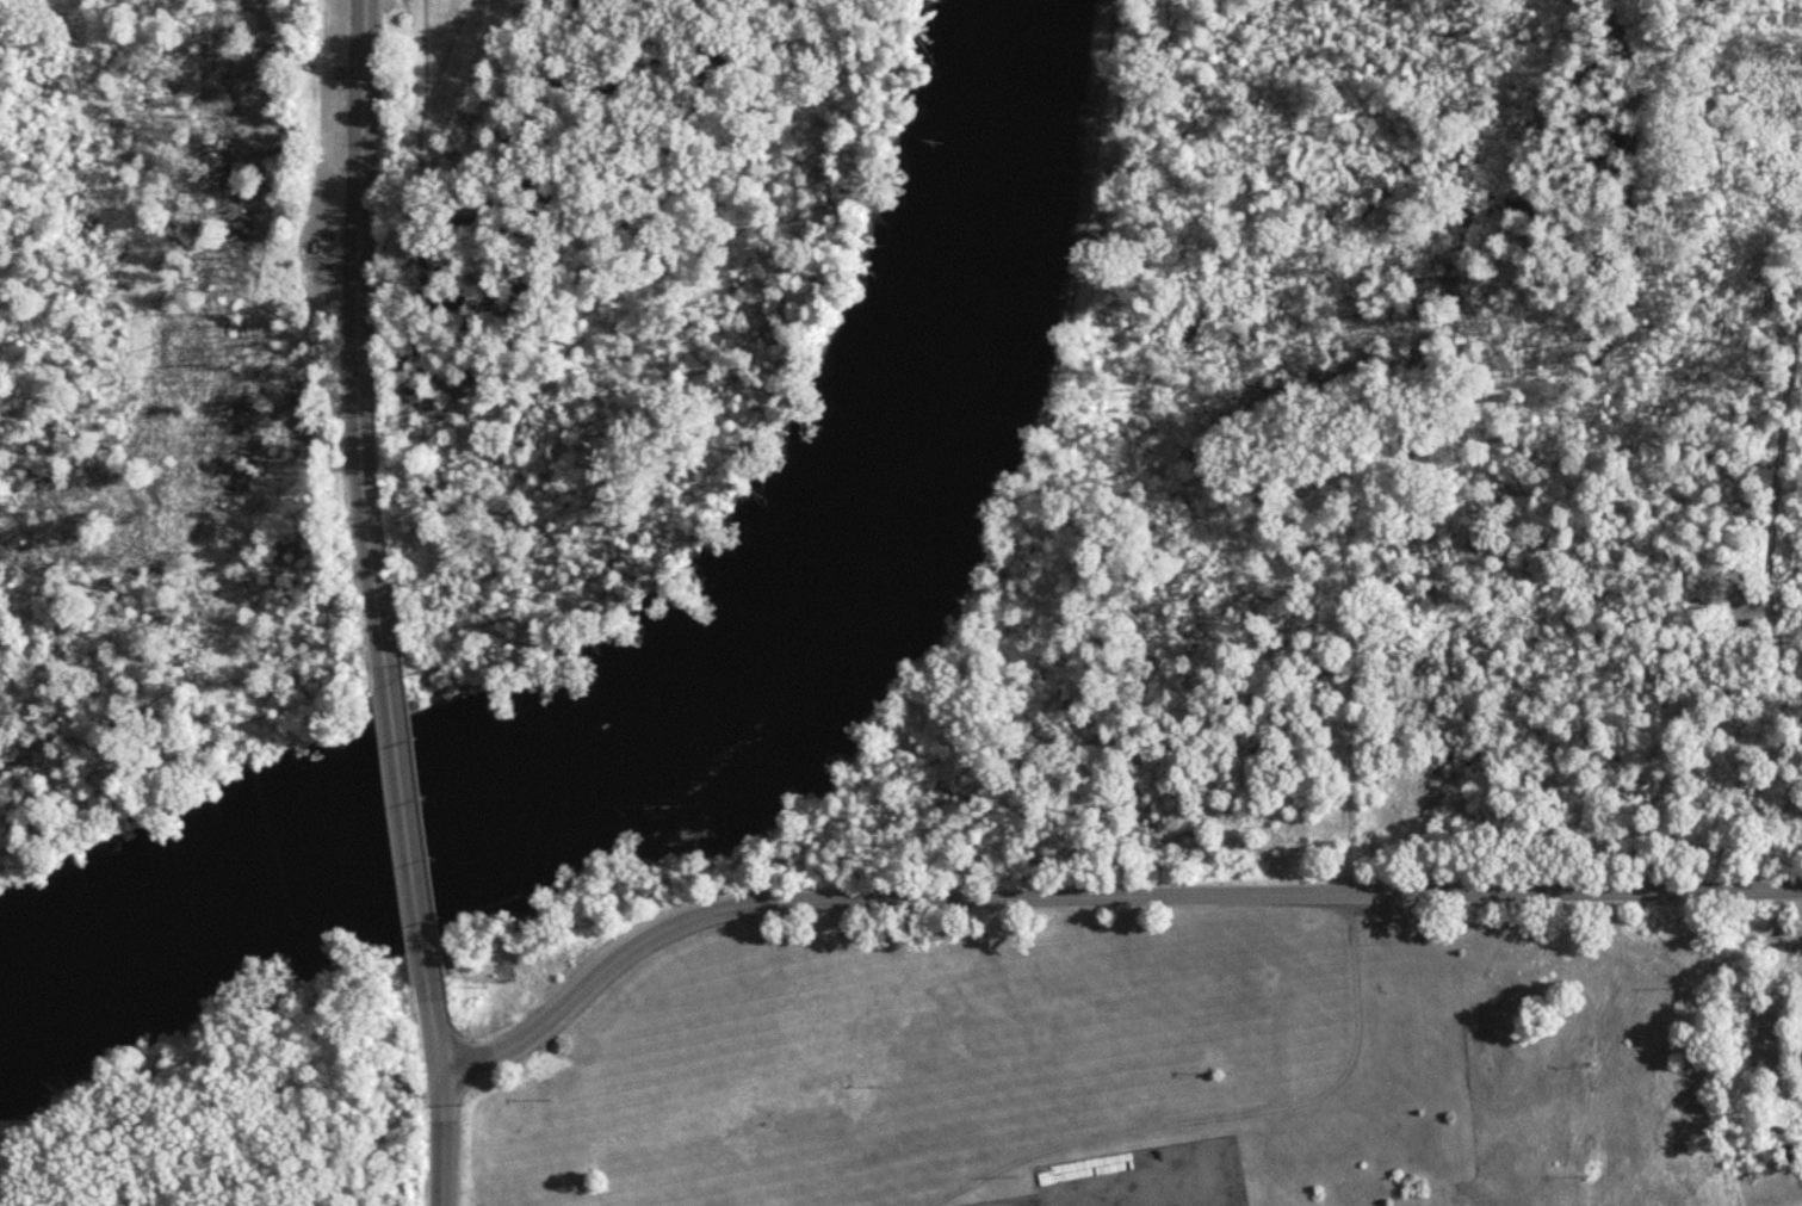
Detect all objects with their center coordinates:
road: (361, 116)
road: (358, 449)
road: (323, 616)
river: (726, 709)
road: (1342, 744)
road: (409, 827)
road: (1571, 892)
road: (866, 901)
road: (438, 1028)
road: (1298, 1102)
road: (442, 1138)
road: (996, 1167)
road: (1114, 1193)

